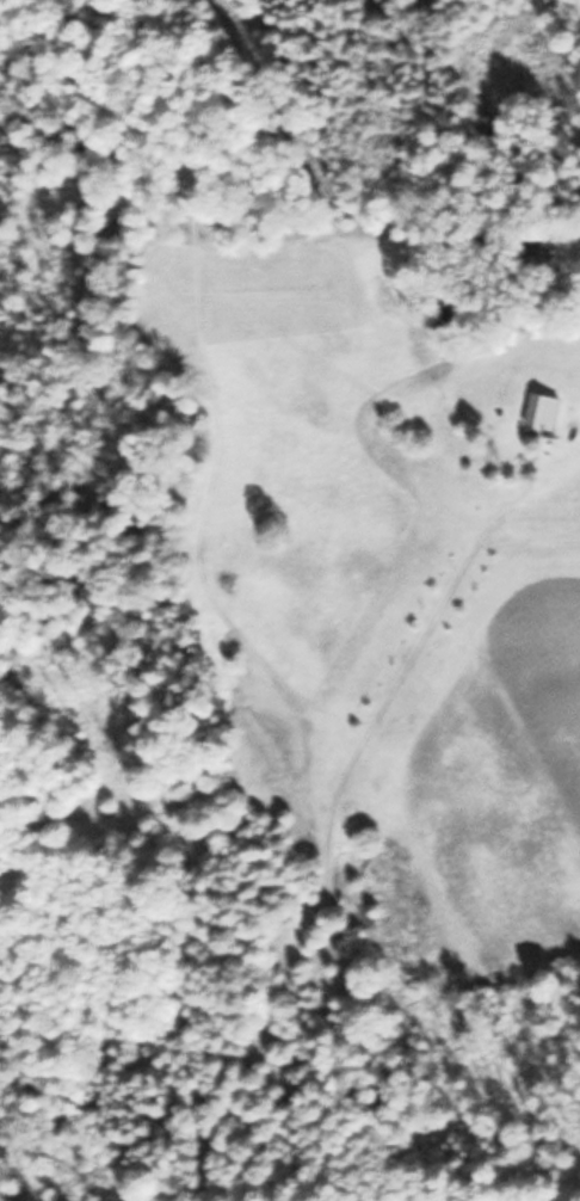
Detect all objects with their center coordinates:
building: (544, 409)
road: (291, 831)

